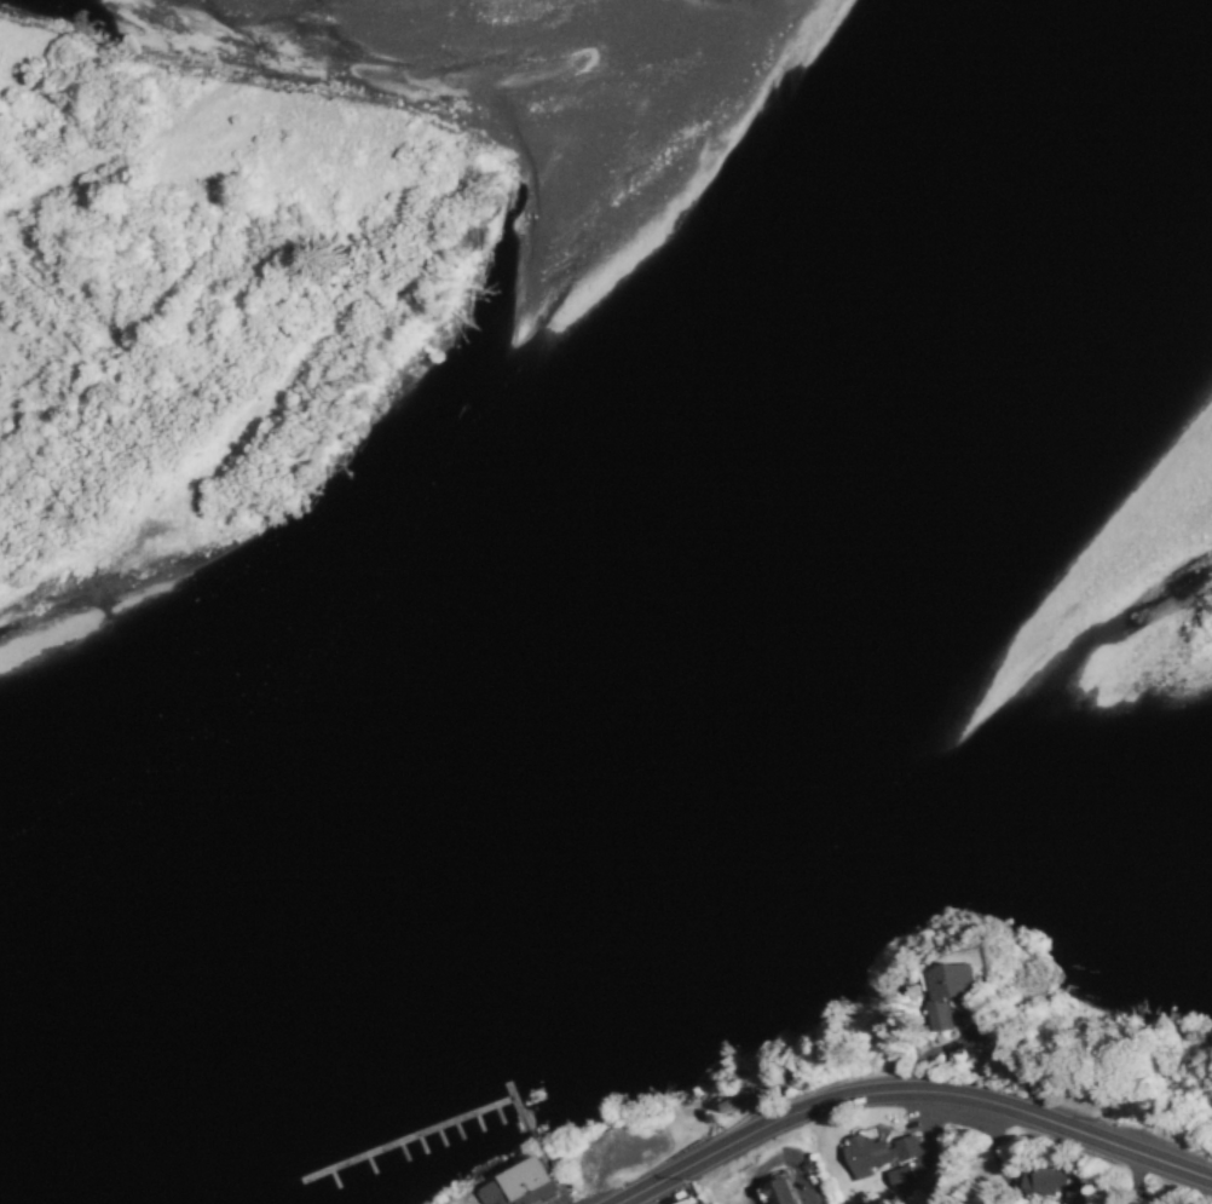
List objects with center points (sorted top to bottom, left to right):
river: (640, 613)
building: (950, 990)
building: (735, 1100)
road: (919, 1106)
building: (876, 1152)
building: (899, 1176)
road: (1133, 1181)
building: (516, 1185)
building: (779, 1191)

